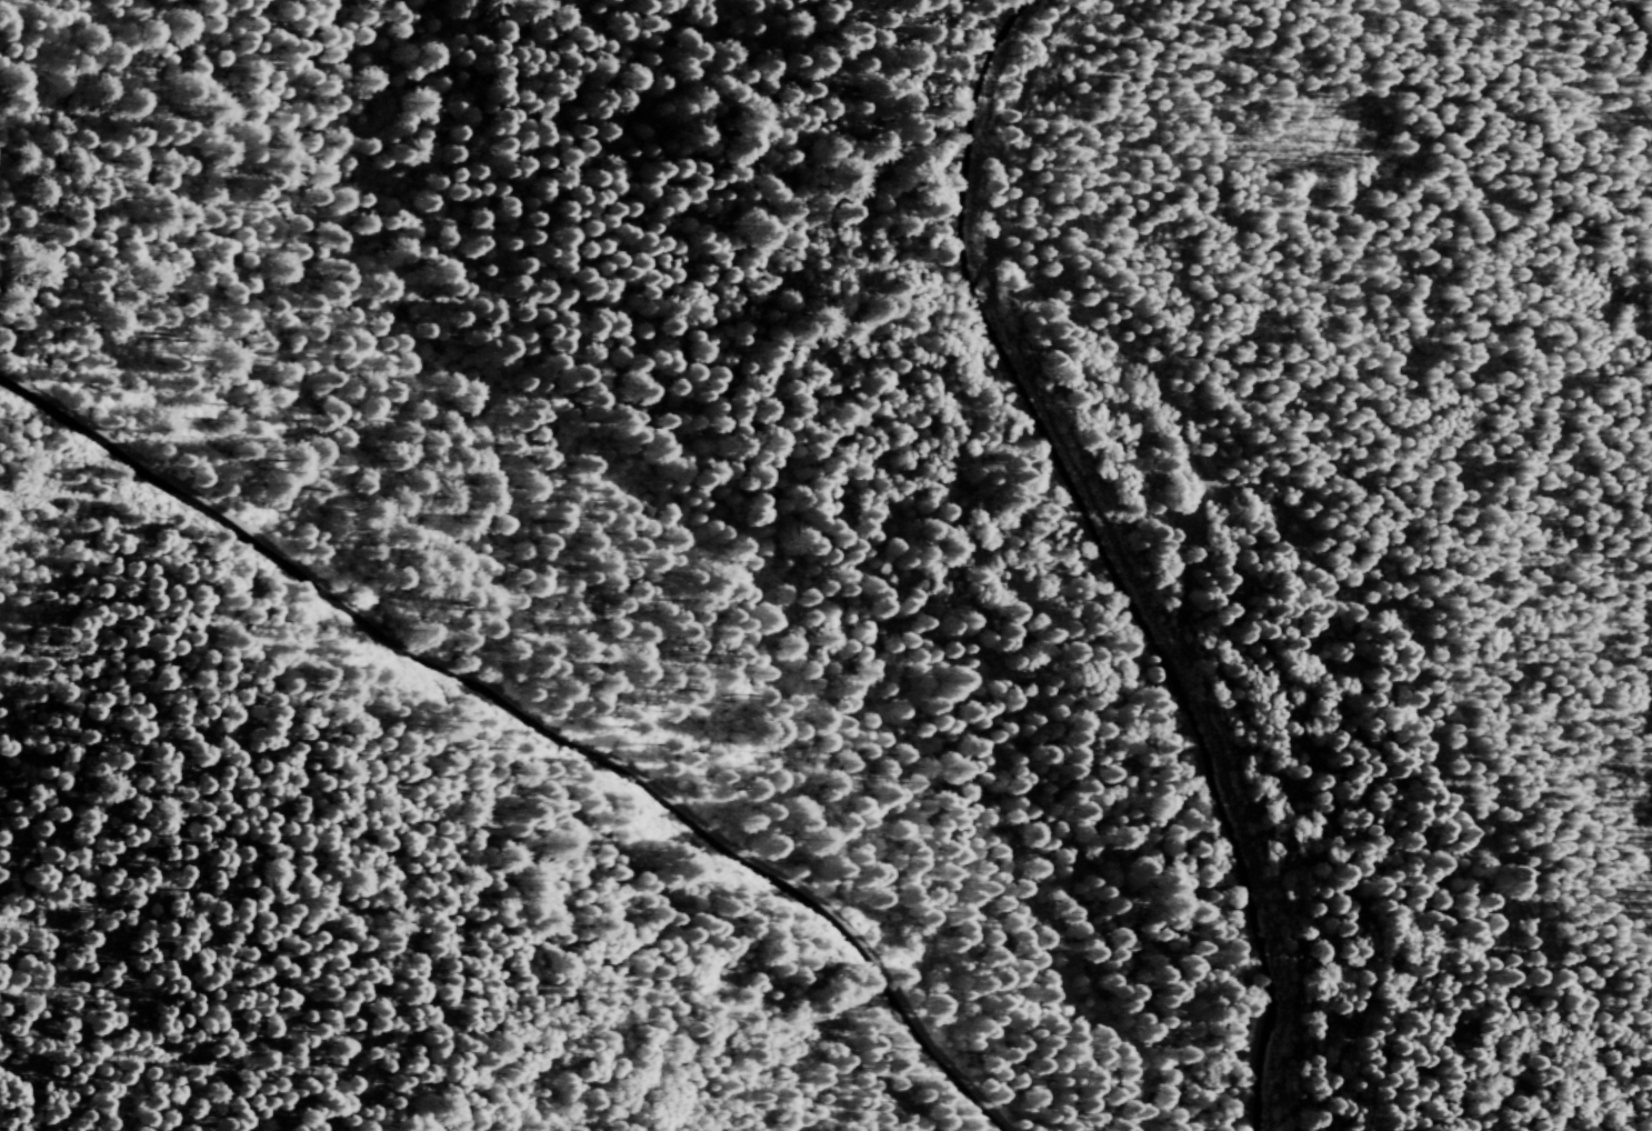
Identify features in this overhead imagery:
road: (1592, 64)
road: (1224, 520)
road: (163, 670)
road: (288, 892)

